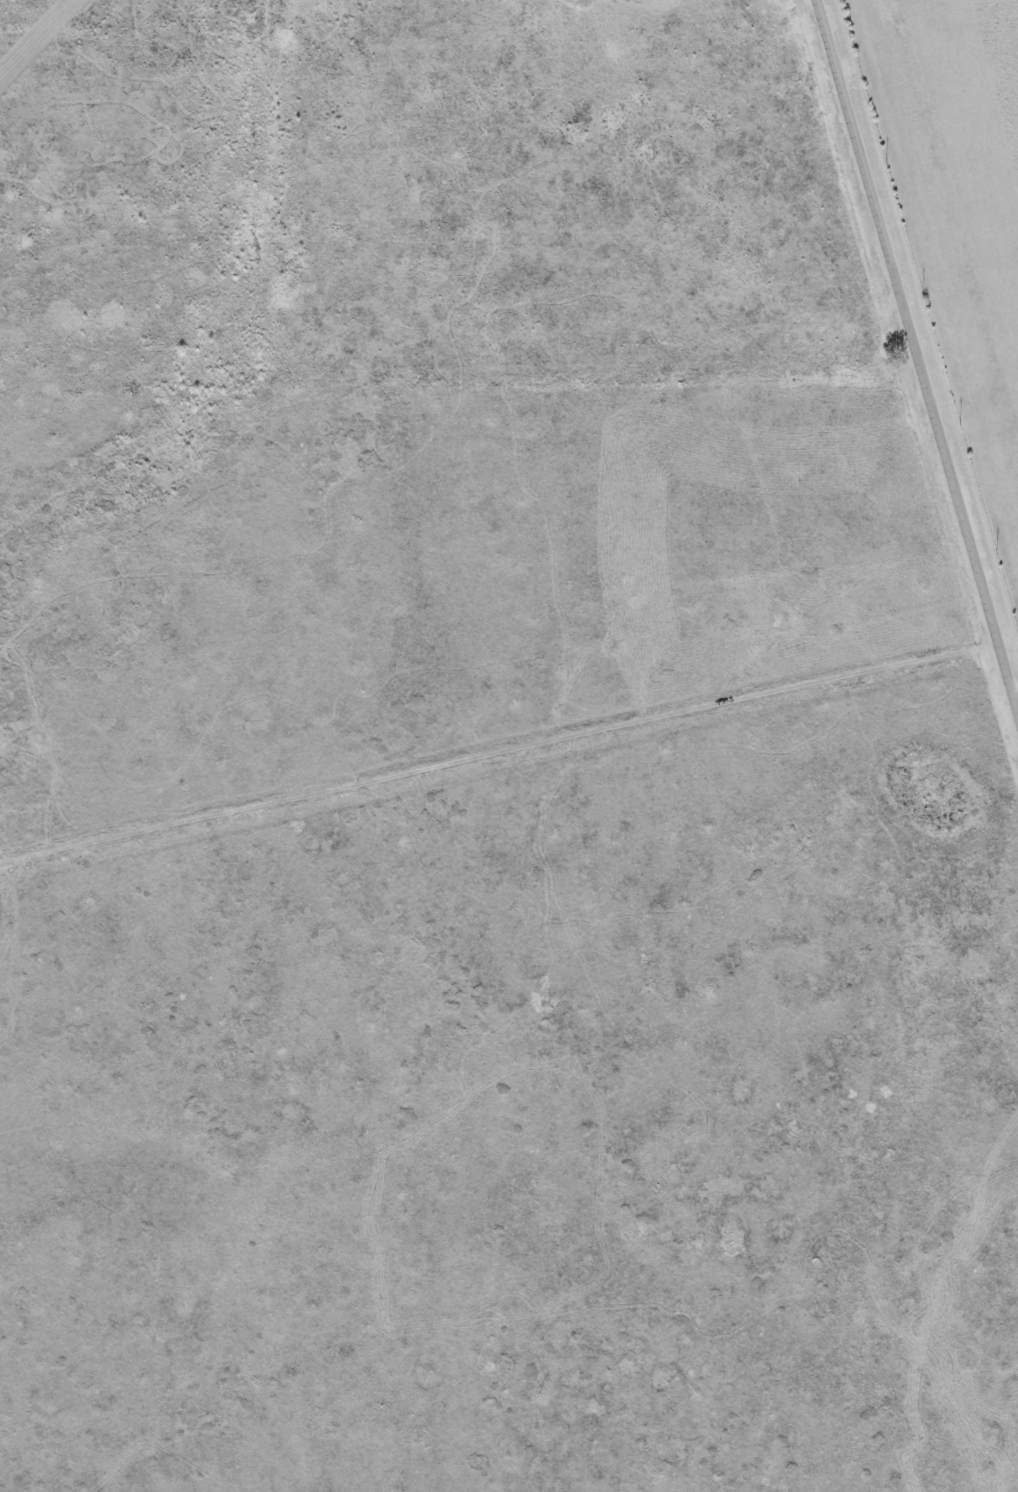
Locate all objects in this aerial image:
road: (918, 353)
road: (1015, 684)

